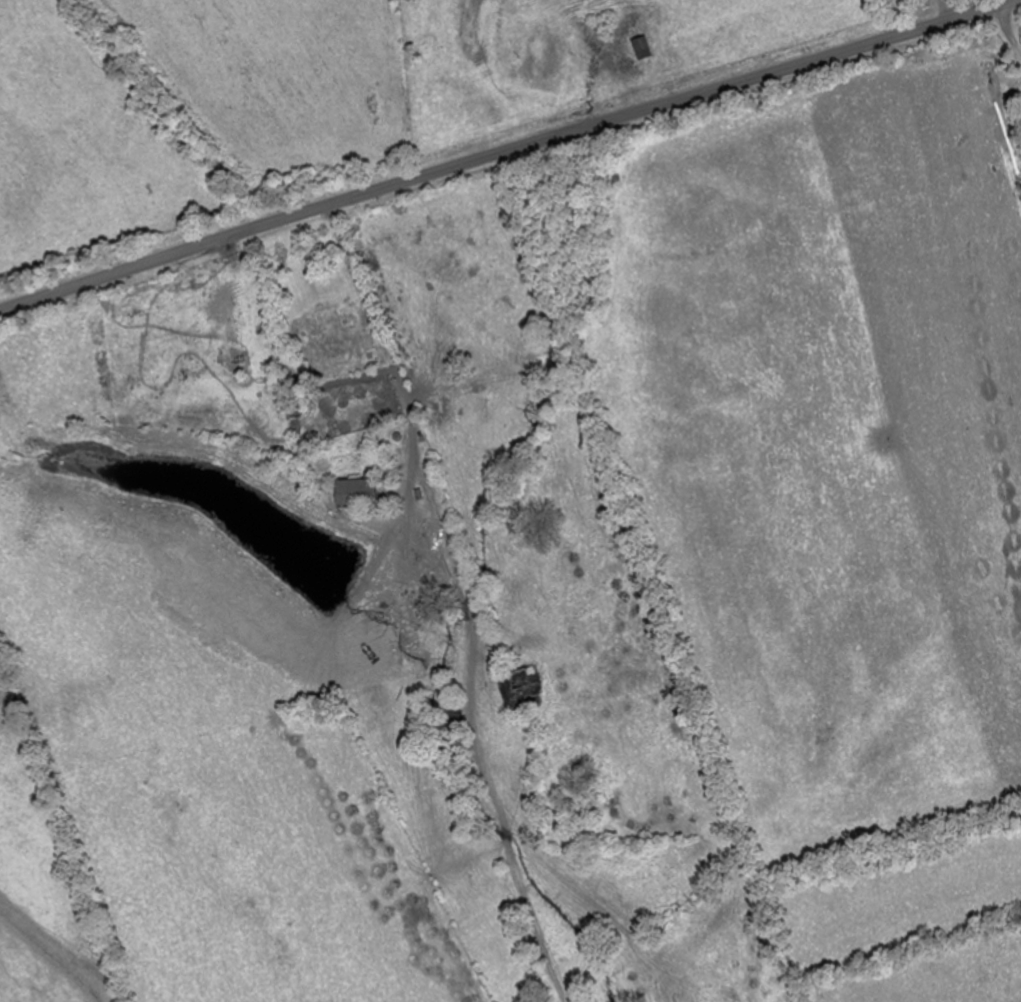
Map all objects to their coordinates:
building: (920, 4)
road: (934, 11)
building: (642, 47)
road: (506, 150)
building: (324, 325)
building: (356, 492)
building: (518, 689)
building: (456, 714)

